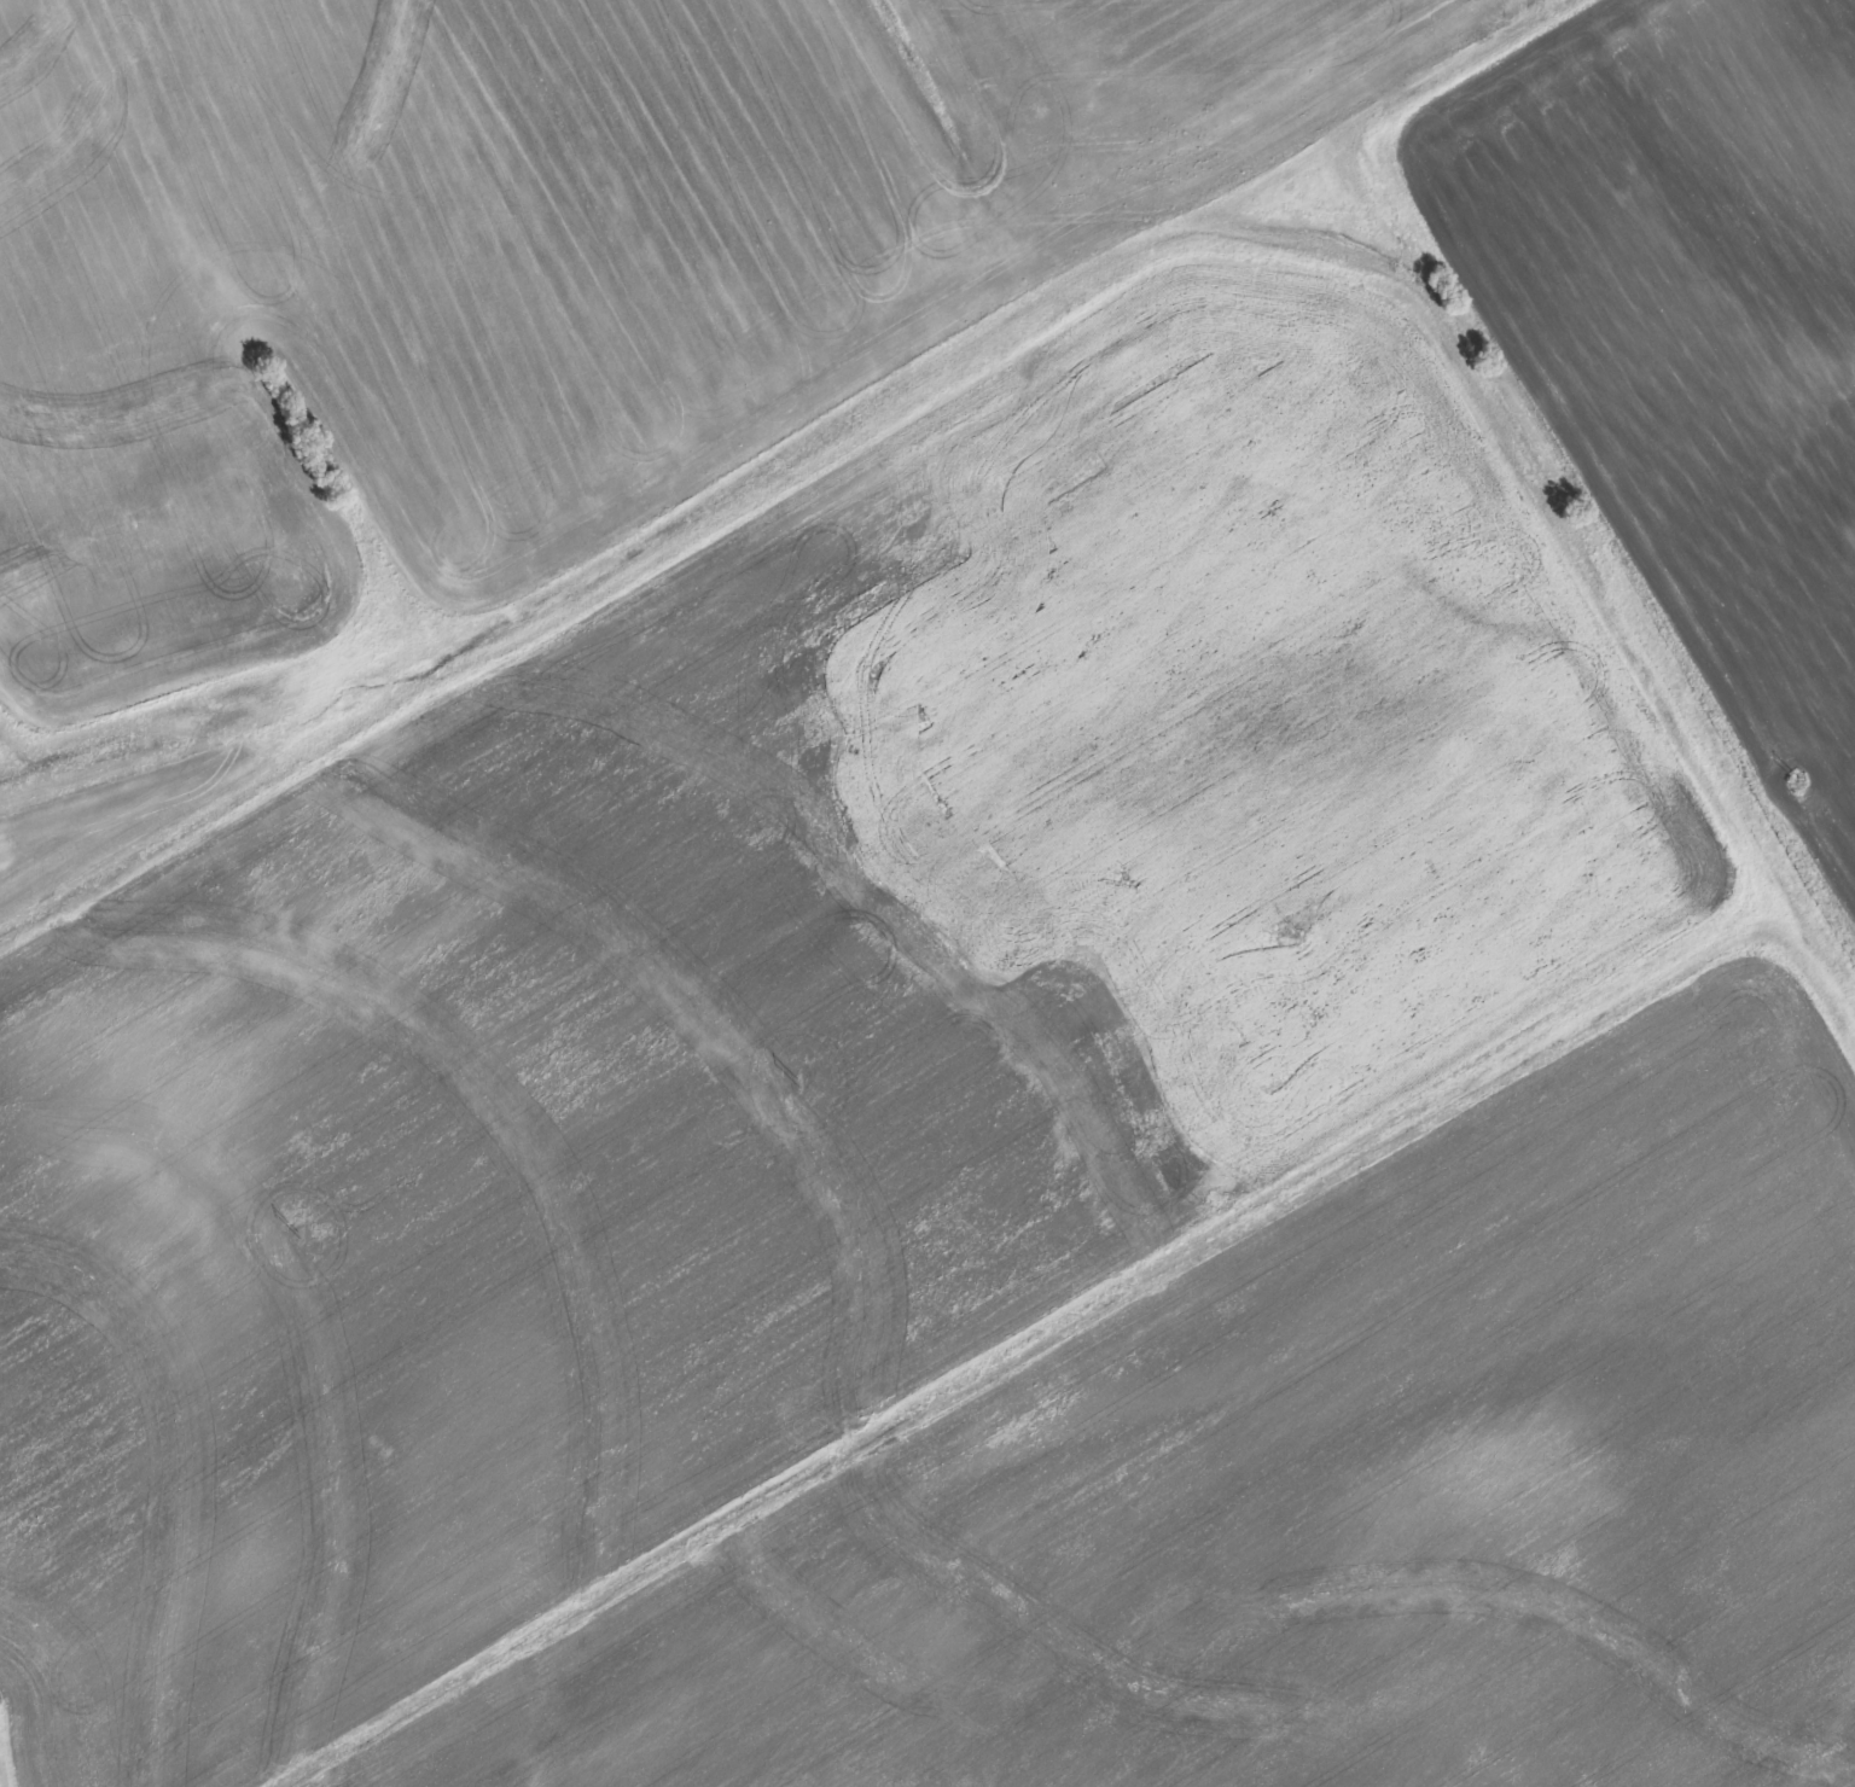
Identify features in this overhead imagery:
power tower: (1798, 779)
power tower: (1301, 931)
power tower: (801, 1081)
power tower: (302, 1232)

